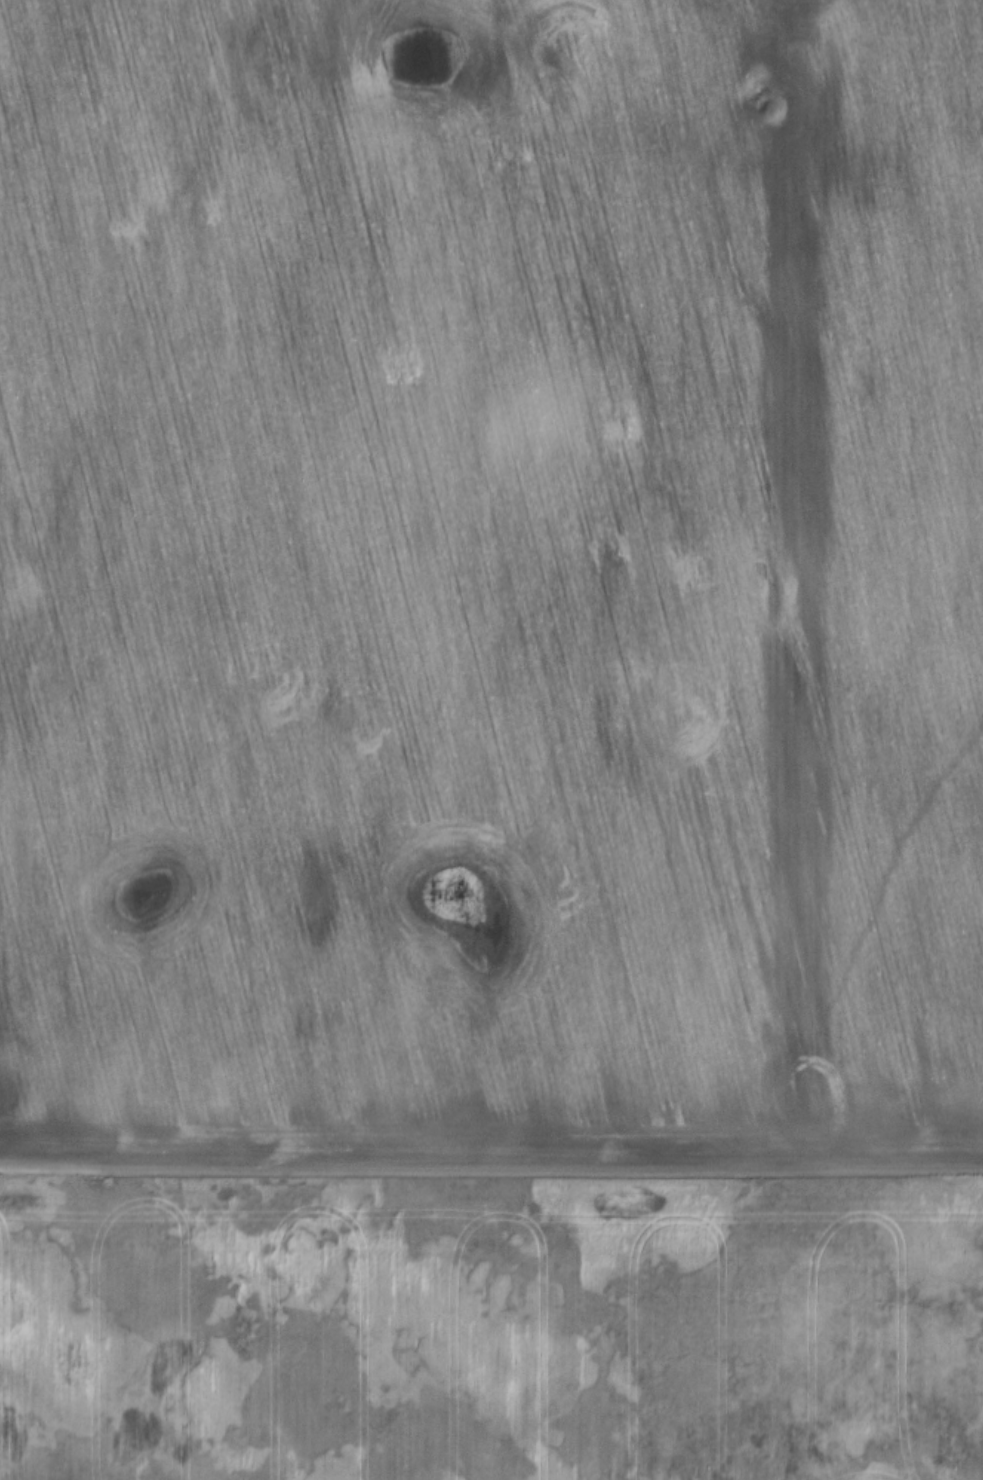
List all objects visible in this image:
road: (491, 1168)

